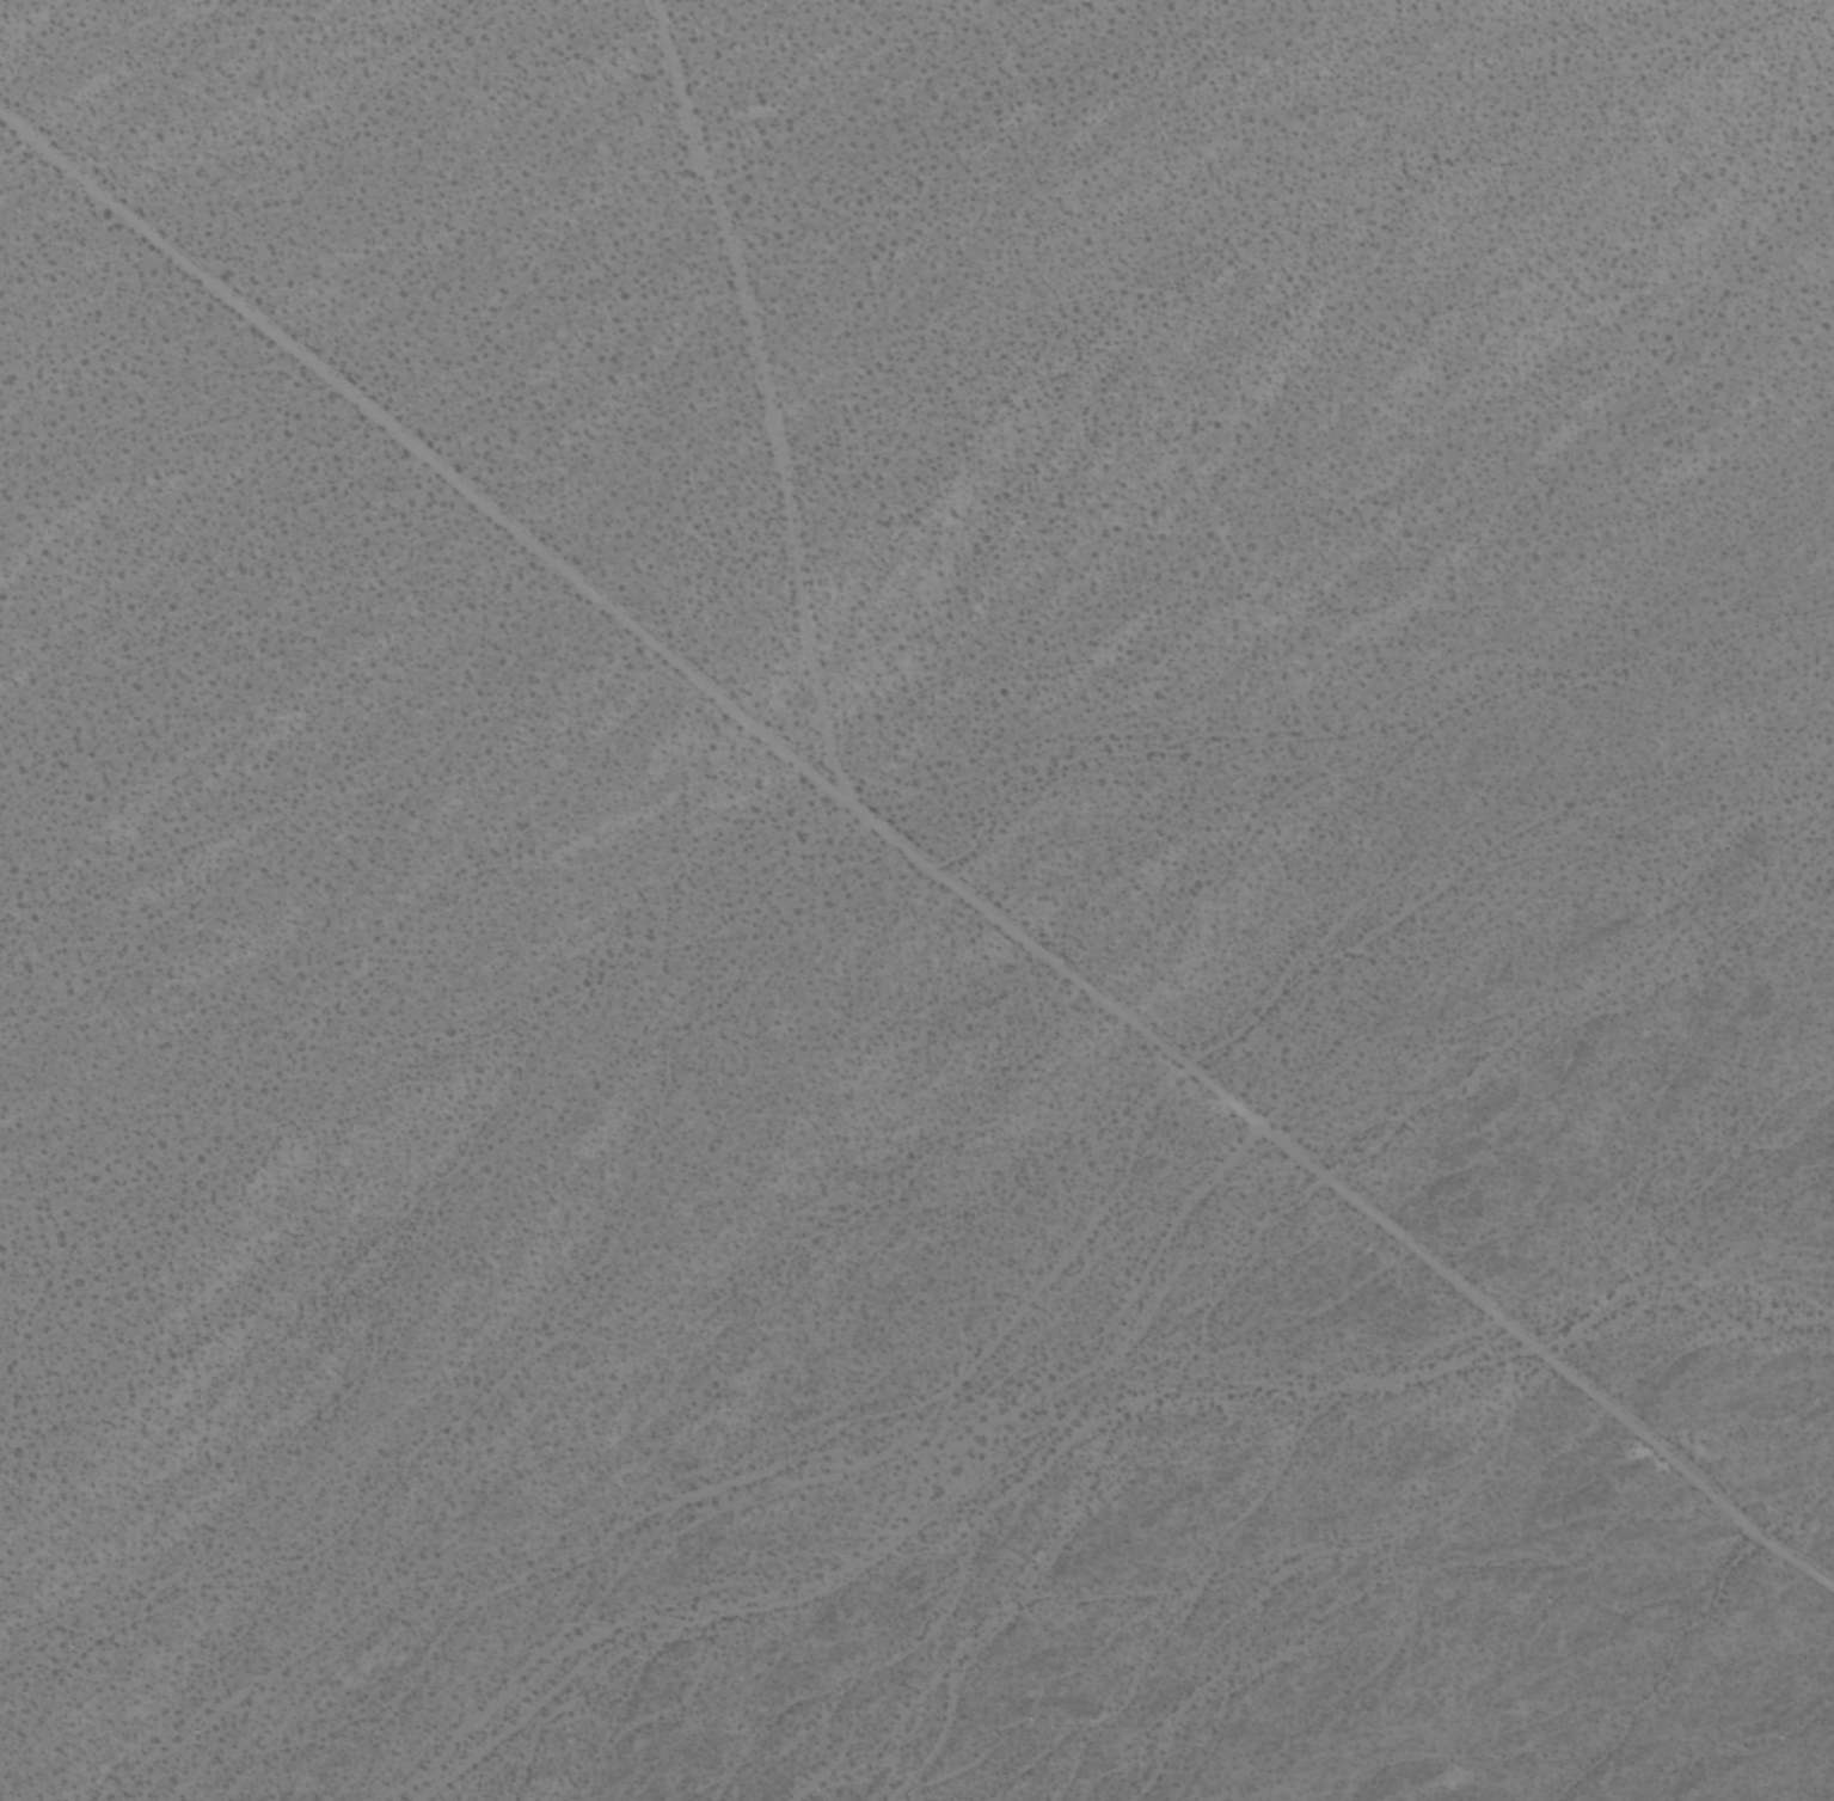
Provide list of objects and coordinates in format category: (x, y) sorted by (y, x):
road: (912, 853)

